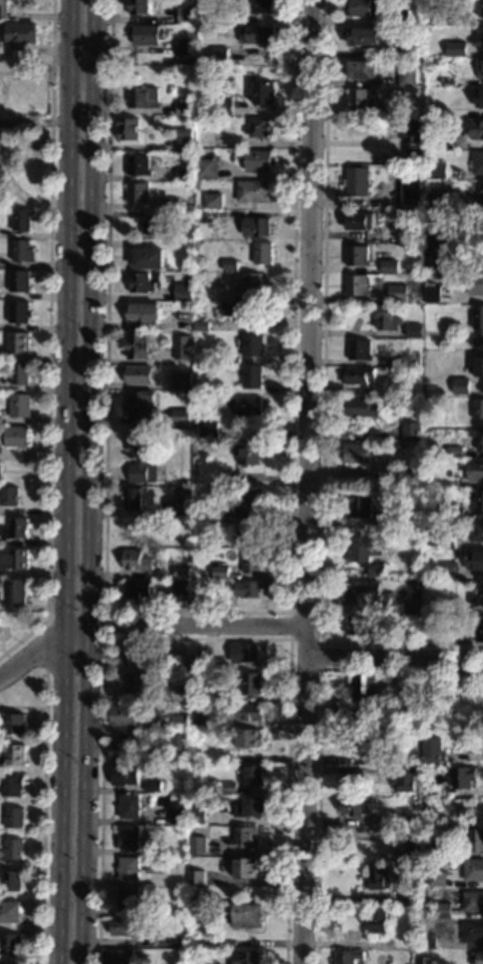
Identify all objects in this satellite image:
building: (384, 2)
building: (262, 6)
building: (141, 7)
building: (362, 7)
building: (4, 9)
building: (481, 9)
building: (187, 15)
building: (436, 15)
building: (400, 17)
building: (414, 19)
building: (20, 33)
building: (148, 35)
building: (258, 35)
building: (363, 36)
building: (479, 37)
building: (185, 47)
building: (410, 48)
building: (456, 49)
building: (221, 55)
building: (447, 60)
building: (480, 68)
building: (363, 70)
building: (407, 76)
building: (264, 93)
building: (144, 98)
building: (480, 99)
building: (361, 100)
building: (225, 107)
building: (185, 108)
building: (391, 111)
building: (200, 121)
building: (260, 127)
building: (129, 129)
building: (477, 129)
building: (184, 132)
building: (414, 135)
building: (436, 135)
building: (207, 138)
building: (184, 145)
building: (259, 160)
building: (478, 162)
building: (139, 165)
building: (208, 168)
building: (437, 170)
building: (183, 172)
building: (357, 181)
building: (255, 191)
building: (411, 191)
building: (138, 193)
building: (480, 194)
building: (213, 201)
building: (436, 201)
building: (172, 204)
building: (205, 218)
building: (22, 219)
building: (359, 221)
building: (157, 225)
building: (257, 227)
building: (188, 233)
building: (436, 240)
building: (23, 251)
building: (263, 253)
building: (358, 255)
building: (149, 258)
building: (230, 265)
building: (390, 267)
building: (20, 281)
building: (142, 283)
building: (253, 283)
building: (476, 284)
building: (357, 285)
building: (184, 292)
building: (398, 293)
building: (432, 293)
building: (237, 309)
building: (20, 312)
building: (143, 313)
building: (387, 318)
building: (478, 324)
building: (202, 326)
building: (415, 331)
road: (49, 338)
building: (19, 343)
building: (137, 344)
building: (253, 345)
building: (182, 347)
building: (360, 350)
building: (200, 355)
building: (415, 361)
building: (201, 366)
building: (480, 367)
building: (20, 374)
building: (140, 375)
building: (360, 375)
building: (252, 377)
building: (182, 381)
building: (399, 385)
building: (461, 386)
building: (141, 404)
building: (246, 405)
road: (323, 405)
building: (20, 406)
building: (360, 407)
building: (478, 409)
building: (180, 416)
building: (428, 422)
building: (213, 430)
building: (411, 431)
building: (17, 436)
building: (477, 438)
building: (247, 452)
building: (454, 452)
building: (139, 454)
building: (357, 454)
building: (427, 463)
building: (475, 470)
building: (0, 472)
building: (410, 473)
building: (230, 479)
road: (63, 481)
road: (307, 481)
road: (87, 482)
building: (181, 492)
building: (9, 496)
building: (133, 498)
building: (251, 501)
building: (479, 501)
building: (357, 505)
building: (176, 506)
building: (221, 511)
building: (455, 513)
building: (386, 526)
building: (16, 528)
building: (132, 529)
building: (250, 530)
building: (477, 532)
building: (446, 541)
building: (220, 542)
building: (364, 553)
building: (15, 560)
building: (475, 560)
building: (136, 561)
building: (252, 561)
building: (449, 570)
building: (219, 572)
building: (181, 573)
building: (180, 587)
building: (414, 587)
building: (245, 588)
building: (136, 589)
building: (17, 591)
building: (357, 592)
building: (478, 596)
building: (208, 597)
building: (389, 605)
building: (446, 607)
road: (197, 613)
road: (62, 615)
building: (356, 624)
building: (401, 625)
road: (146, 630)
building: (479, 631)
building: (444, 633)
road: (196, 638)
road: (305, 642)
building: (133, 651)
building: (244, 653)
road: (395, 657)
building: (180, 662)
building: (198, 662)
building: (192, 677)
building: (136, 682)
building: (250, 684)
road: (44, 688)
building: (179, 694)
building: (364, 696)
road: (22, 707)
building: (248, 712)
building: (125, 715)
building: (198, 719)
building: (179, 722)
building: (15, 724)
road: (319, 734)
building: (248, 739)
building: (178, 743)
building: (360, 747)
building: (125, 750)
building: (431, 750)
building: (13, 756)
building: (177, 759)
building: (409, 760)
building: (125, 775)
building: (255, 775)
building: (462, 777)
building: (403, 778)
building: (13, 786)
building: (153, 786)
building: (227, 788)
building: (147, 797)
building: (178, 797)
building: (130, 806)
building: (355, 806)
building: (250, 807)
building: (177, 813)
building: (196, 815)
building: (13, 817)
building: (397, 819)
building: (411, 819)
building: (431, 819)
building: (189, 828)
building: (382, 832)
road: (42, 836)
building: (129, 837)
building: (245, 837)
building: (475, 840)
building: (403, 844)
building: (198, 845)
building: (157, 848)
building: (439, 848)
building: (15, 849)
building: (155, 864)
building: (129, 868)
building: (246, 868)
building: (473, 870)
building: (196, 878)
building: (378, 878)
building: (436, 878)
building: (13, 881)
building: (408, 896)
building: (128, 899)
building: (473, 901)
building: (156, 910)
building: (443, 910)
building: (11, 912)
building: (247, 915)
building: (379, 920)
building: (125, 927)
building: (473, 932)
building: (428, 940)
building: (198, 941)
building: (405, 941)
building: (171, 942)
building: (12, 944)
building: (119, 956)
building: (348, 956)
building: (246, 957)
building: (477, 958)
building: (365, 961)
building: (425, 961)
building: (3, 963)

